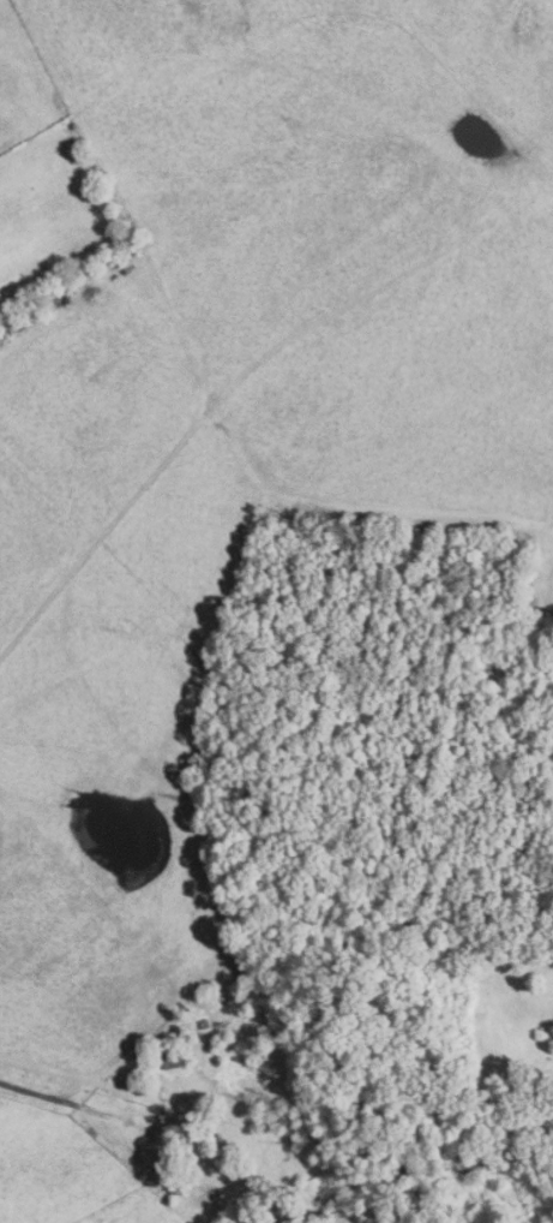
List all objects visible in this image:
road: (98, 532)
building: (204, 1022)
building: (173, 1057)
road: (50, 1094)

